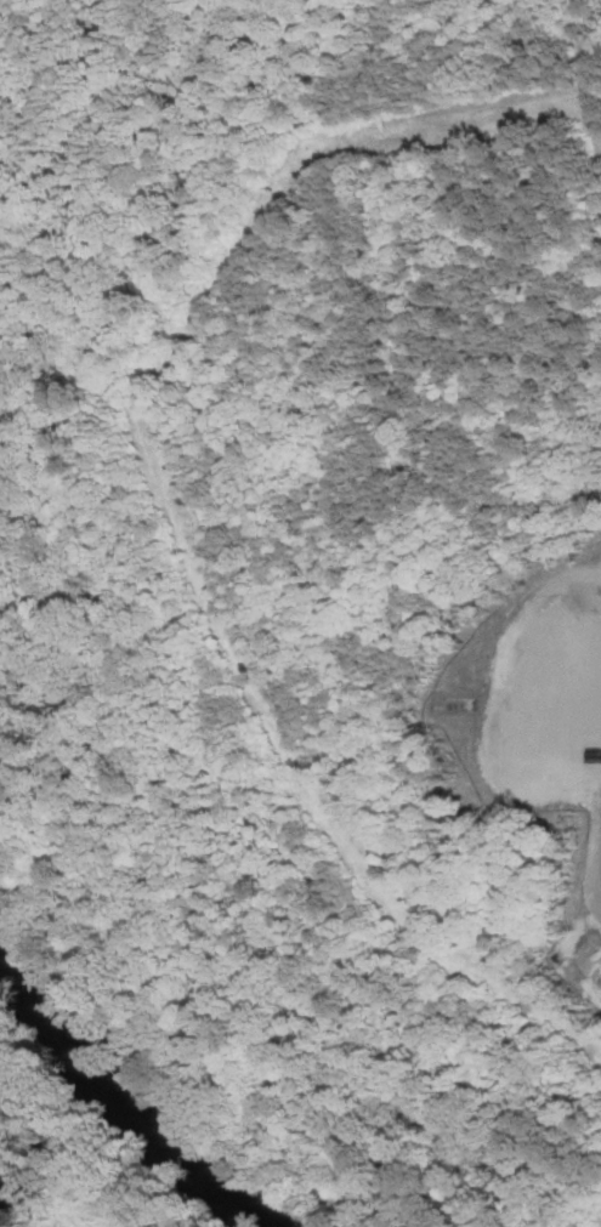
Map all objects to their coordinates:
river: (140, 1078)

